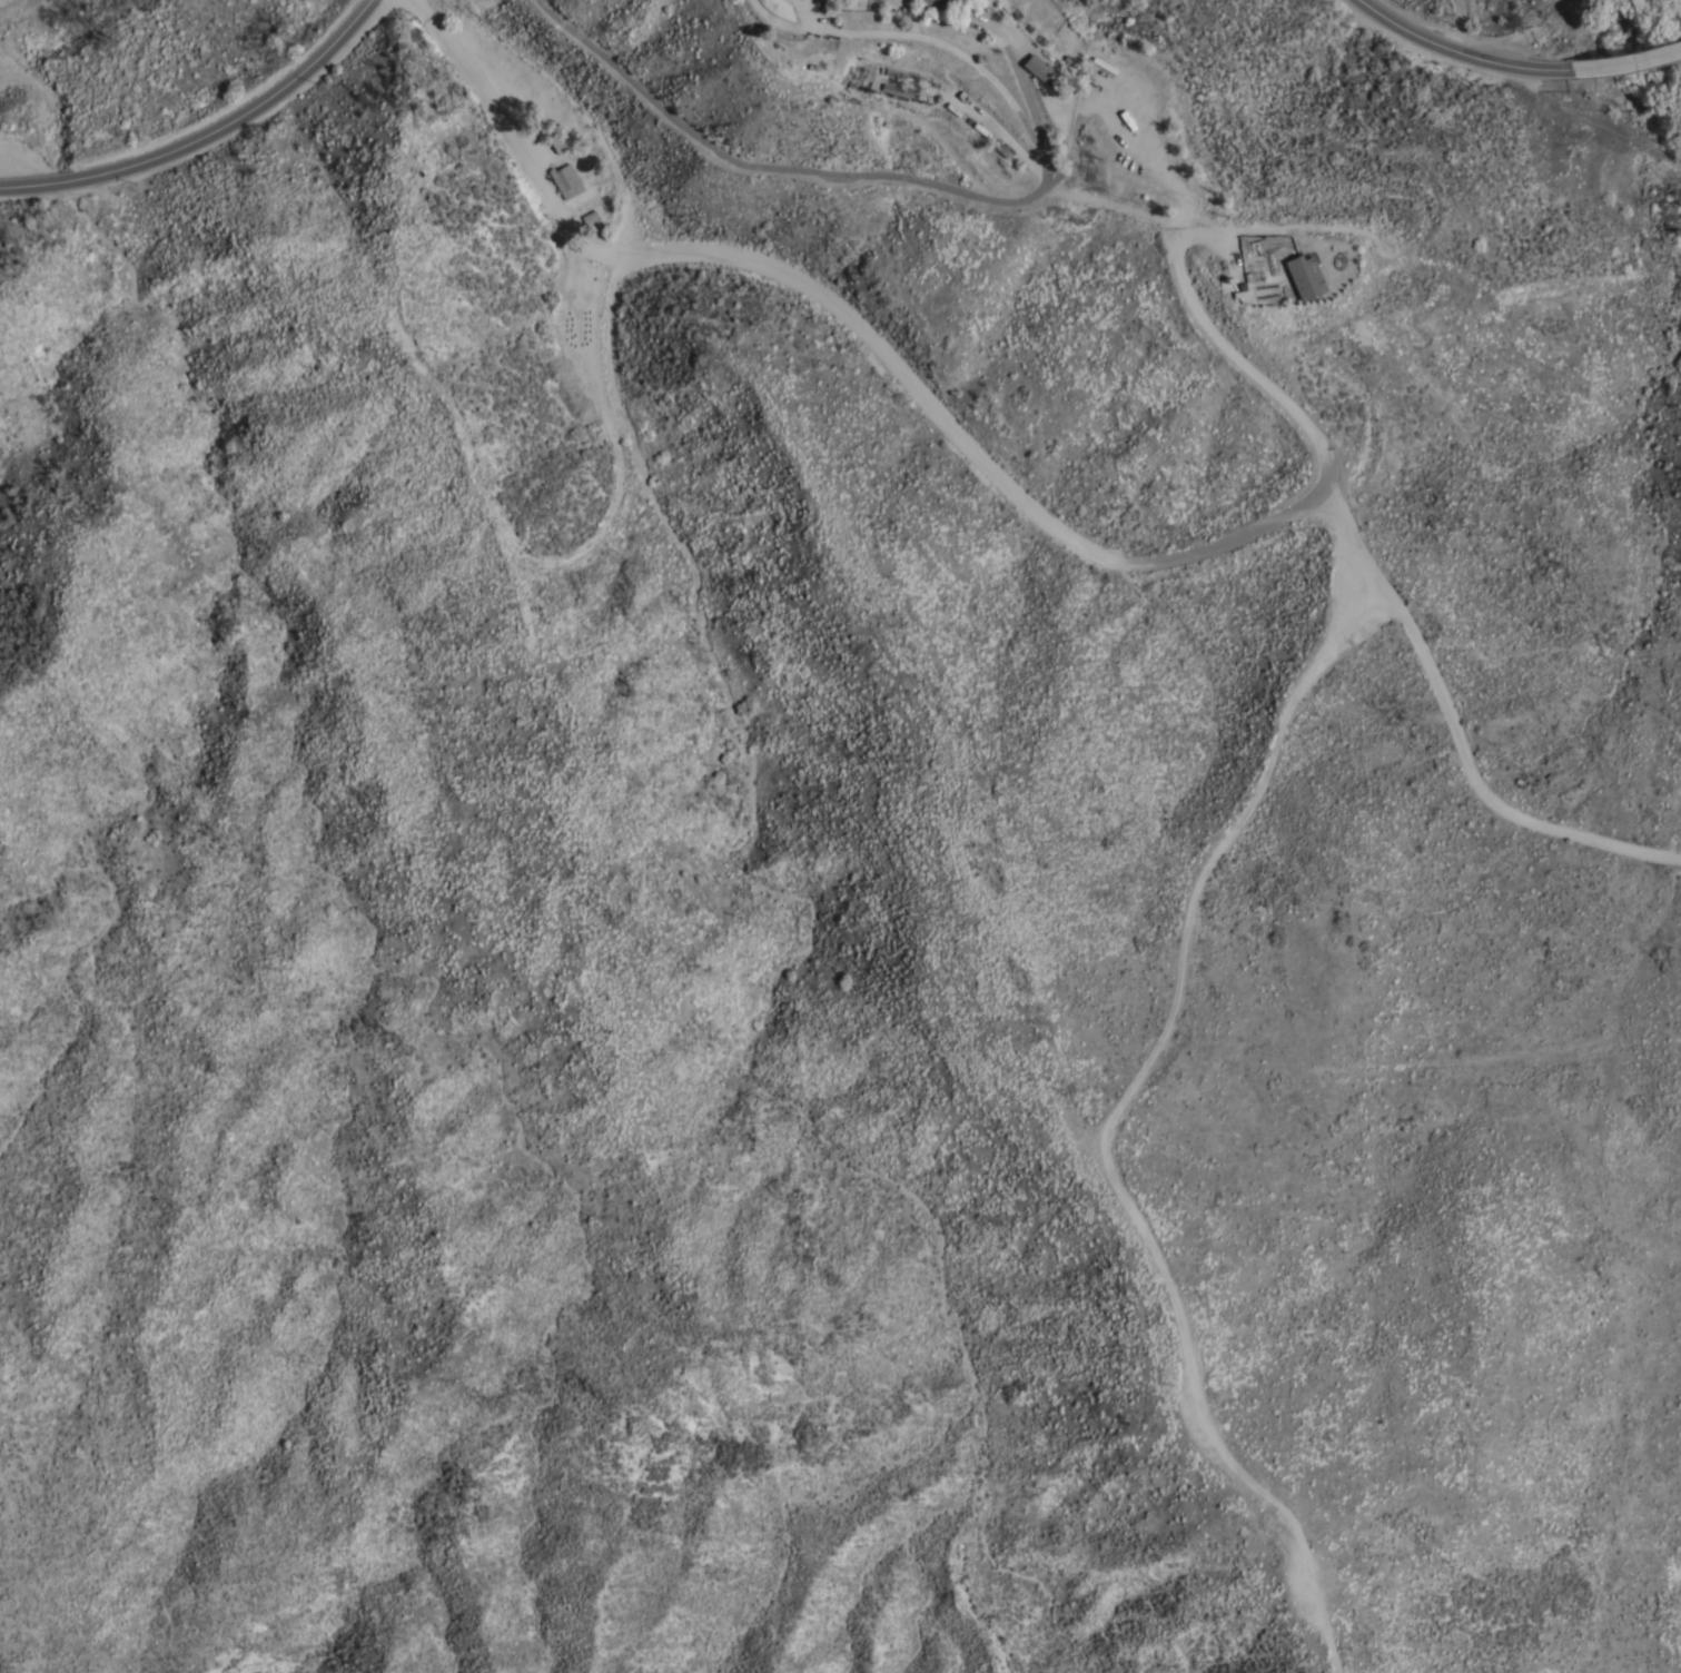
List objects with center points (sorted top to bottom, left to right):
building: (933, 1)
road: (1457, 26)
road: (936, 40)
road: (1456, 52)
building: (1027, 65)
road: (1624, 65)
building: (1036, 66)
building: (909, 72)
building: (888, 89)
road: (1596, 125)
road: (207, 136)
building: (557, 140)
road: (834, 174)
building: (565, 179)
building: (586, 215)
building: (1304, 277)
road: (585, 286)
road: (951, 423)
road: (1354, 539)
road: (1116, 1115)

